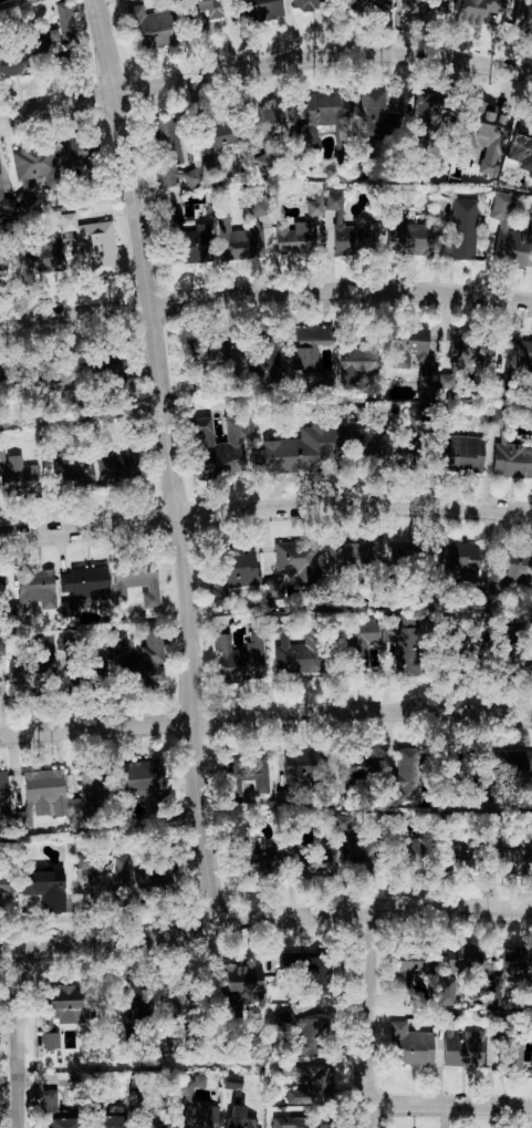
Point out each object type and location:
building: (315, 3)
building: (365, 6)
building: (425, 6)
building: (206, 7)
building: (260, 9)
building: (477, 11)
building: (523, 19)
building: (153, 27)
building: (56, 31)
road: (264, 63)
building: (330, 111)
building: (374, 121)
building: (273, 123)
building: (219, 135)
building: (484, 137)
building: (310, 142)
building: (76, 149)
building: (521, 149)
building: (170, 155)
building: (31, 170)
building: (255, 198)
building: (4, 204)
building: (462, 228)
building: (298, 229)
building: (350, 229)
building: (509, 230)
building: (239, 238)
building: (408, 238)
building: (195, 244)
building: (93, 245)
building: (45, 255)
road: (265, 291)
building: (204, 349)
building: (465, 349)
building: (310, 355)
building: (413, 355)
building: (519, 355)
building: (354, 363)
building: (63, 370)
building: (3, 376)
building: (497, 416)
building: (218, 447)
building: (302, 448)
building: (461, 454)
building: (511, 459)
road: (170, 460)
building: (119, 464)
building: (64, 468)
building: (17, 474)
road: (264, 508)
building: (292, 563)
building: (513, 566)
building: (232, 573)
building: (136, 581)
building: (82, 586)
building: (30, 591)
building: (65, 641)
building: (403, 641)
building: (362, 642)
building: (152, 643)
building: (118, 649)
building: (462, 649)
building: (296, 655)
building: (239, 658)
building: (29, 666)
building: (98, 666)
road: (265, 715)
building: (302, 763)
building: (358, 765)
building: (407, 773)
building: (509, 774)
building: (142, 777)
building: (3, 794)
building: (88, 795)
building: (350, 845)
building: (453, 848)
building: (409, 850)
building: (512, 856)
building: (259, 860)
building: (313, 861)
building: (119, 868)
building: (6, 882)
building: (91, 882)
building: (45, 888)
road: (52, 917)
road: (264, 919)
building: (463, 956)
building: (411, 967)
building: (509, 969)
building: (311, 970)
building: (240, 981)
building: (445, 989)
building: (65, 1004)
building: (188, 1005)
road: (368, 1016)
building: (313, 1035)
road: (19, 1037)
building: (49, 1039)
building: (459, 1043)
building: (409, 1045)
building: (515, 1055)
building: (311, 1085)
building: (231, 1097)
road: (10, 1104)
road: (451, 1107)
building: (197, 1115)
building: (146, 1119)
building: (106, 1120)
building: (241, 1121)
building: (301, 1121)

